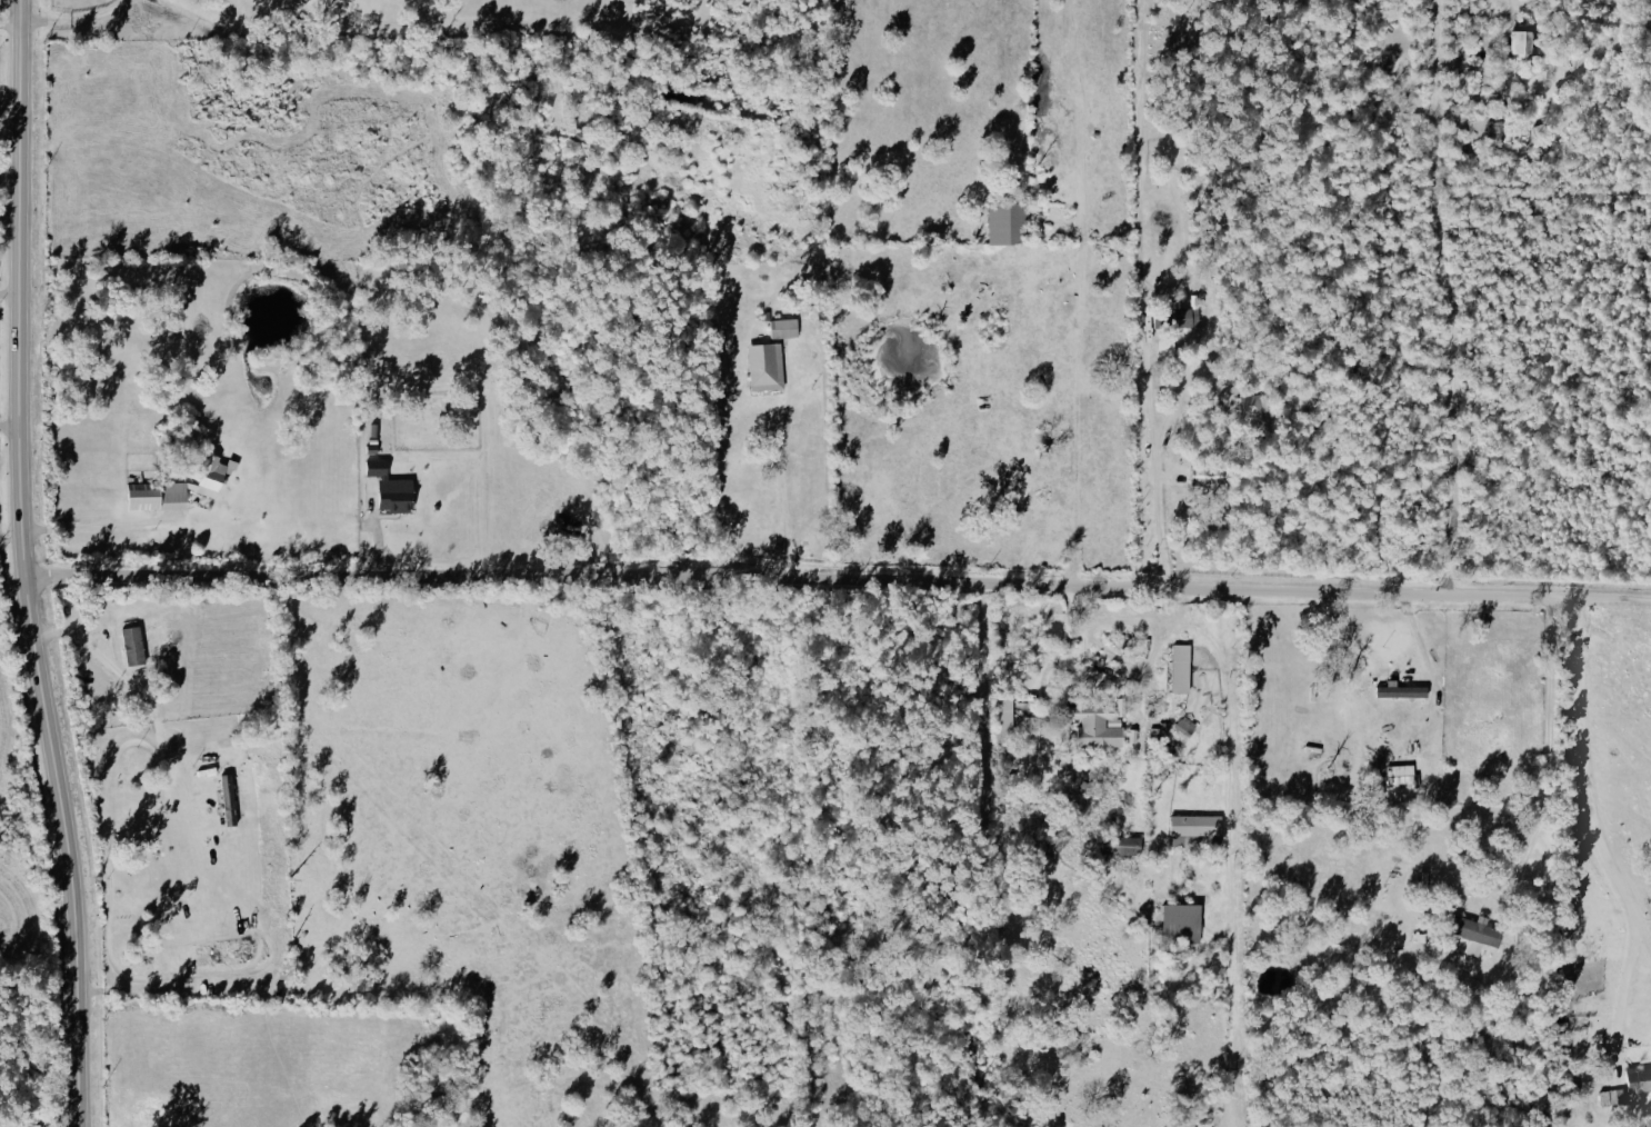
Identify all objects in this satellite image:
road: (74, 19)
road: (9, 28)
building: (1521, 41)
road: (10, 221)
building: (1008, 222)
road: (1443, 299)
building: (1185, 315)
building: (784, 328)
building: (766, 367)
building: (1252, 409)
road: (8, 432)
road: (1160, 451)
road: (784, 465)
building: (391, 488)
road: (100, 532)
road: (24, 565)
road: (797, 584)
road: (1609, 597)
building: (133, 645)
building: (1181, 668)
road: (127, 679)
road: (1092, 686)
building: (1401, 690)
building: (1005, 718)
building: (1099, 724)
building: (1400, 776)
road: (1575, 786)
building: (229, 800)
building: (1197, 825)
building: (1122, 846)
building: (1181, 922)
building: (1472, 934)
road: (1623, 995)
building: (1639, 1081)
building: (1649, 1113)

